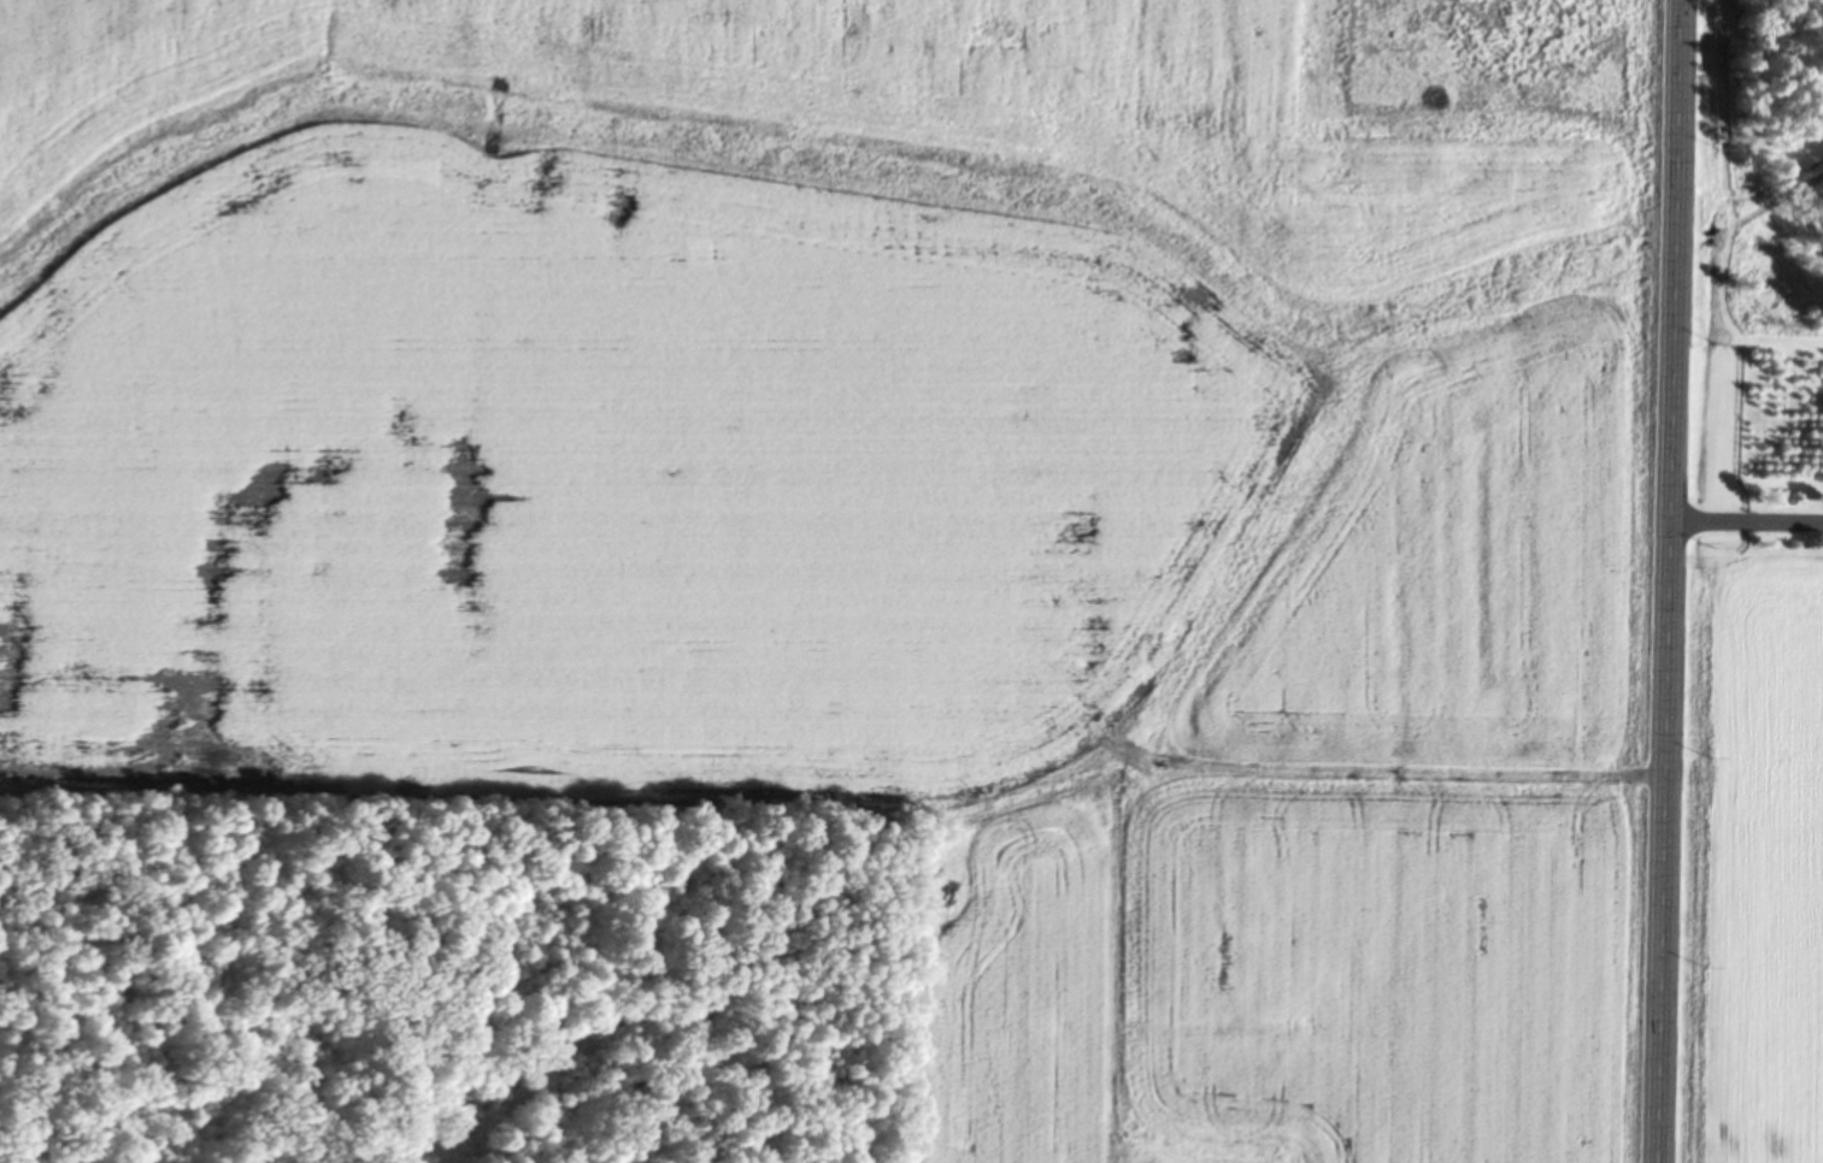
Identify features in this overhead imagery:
road: (1670, 581)

